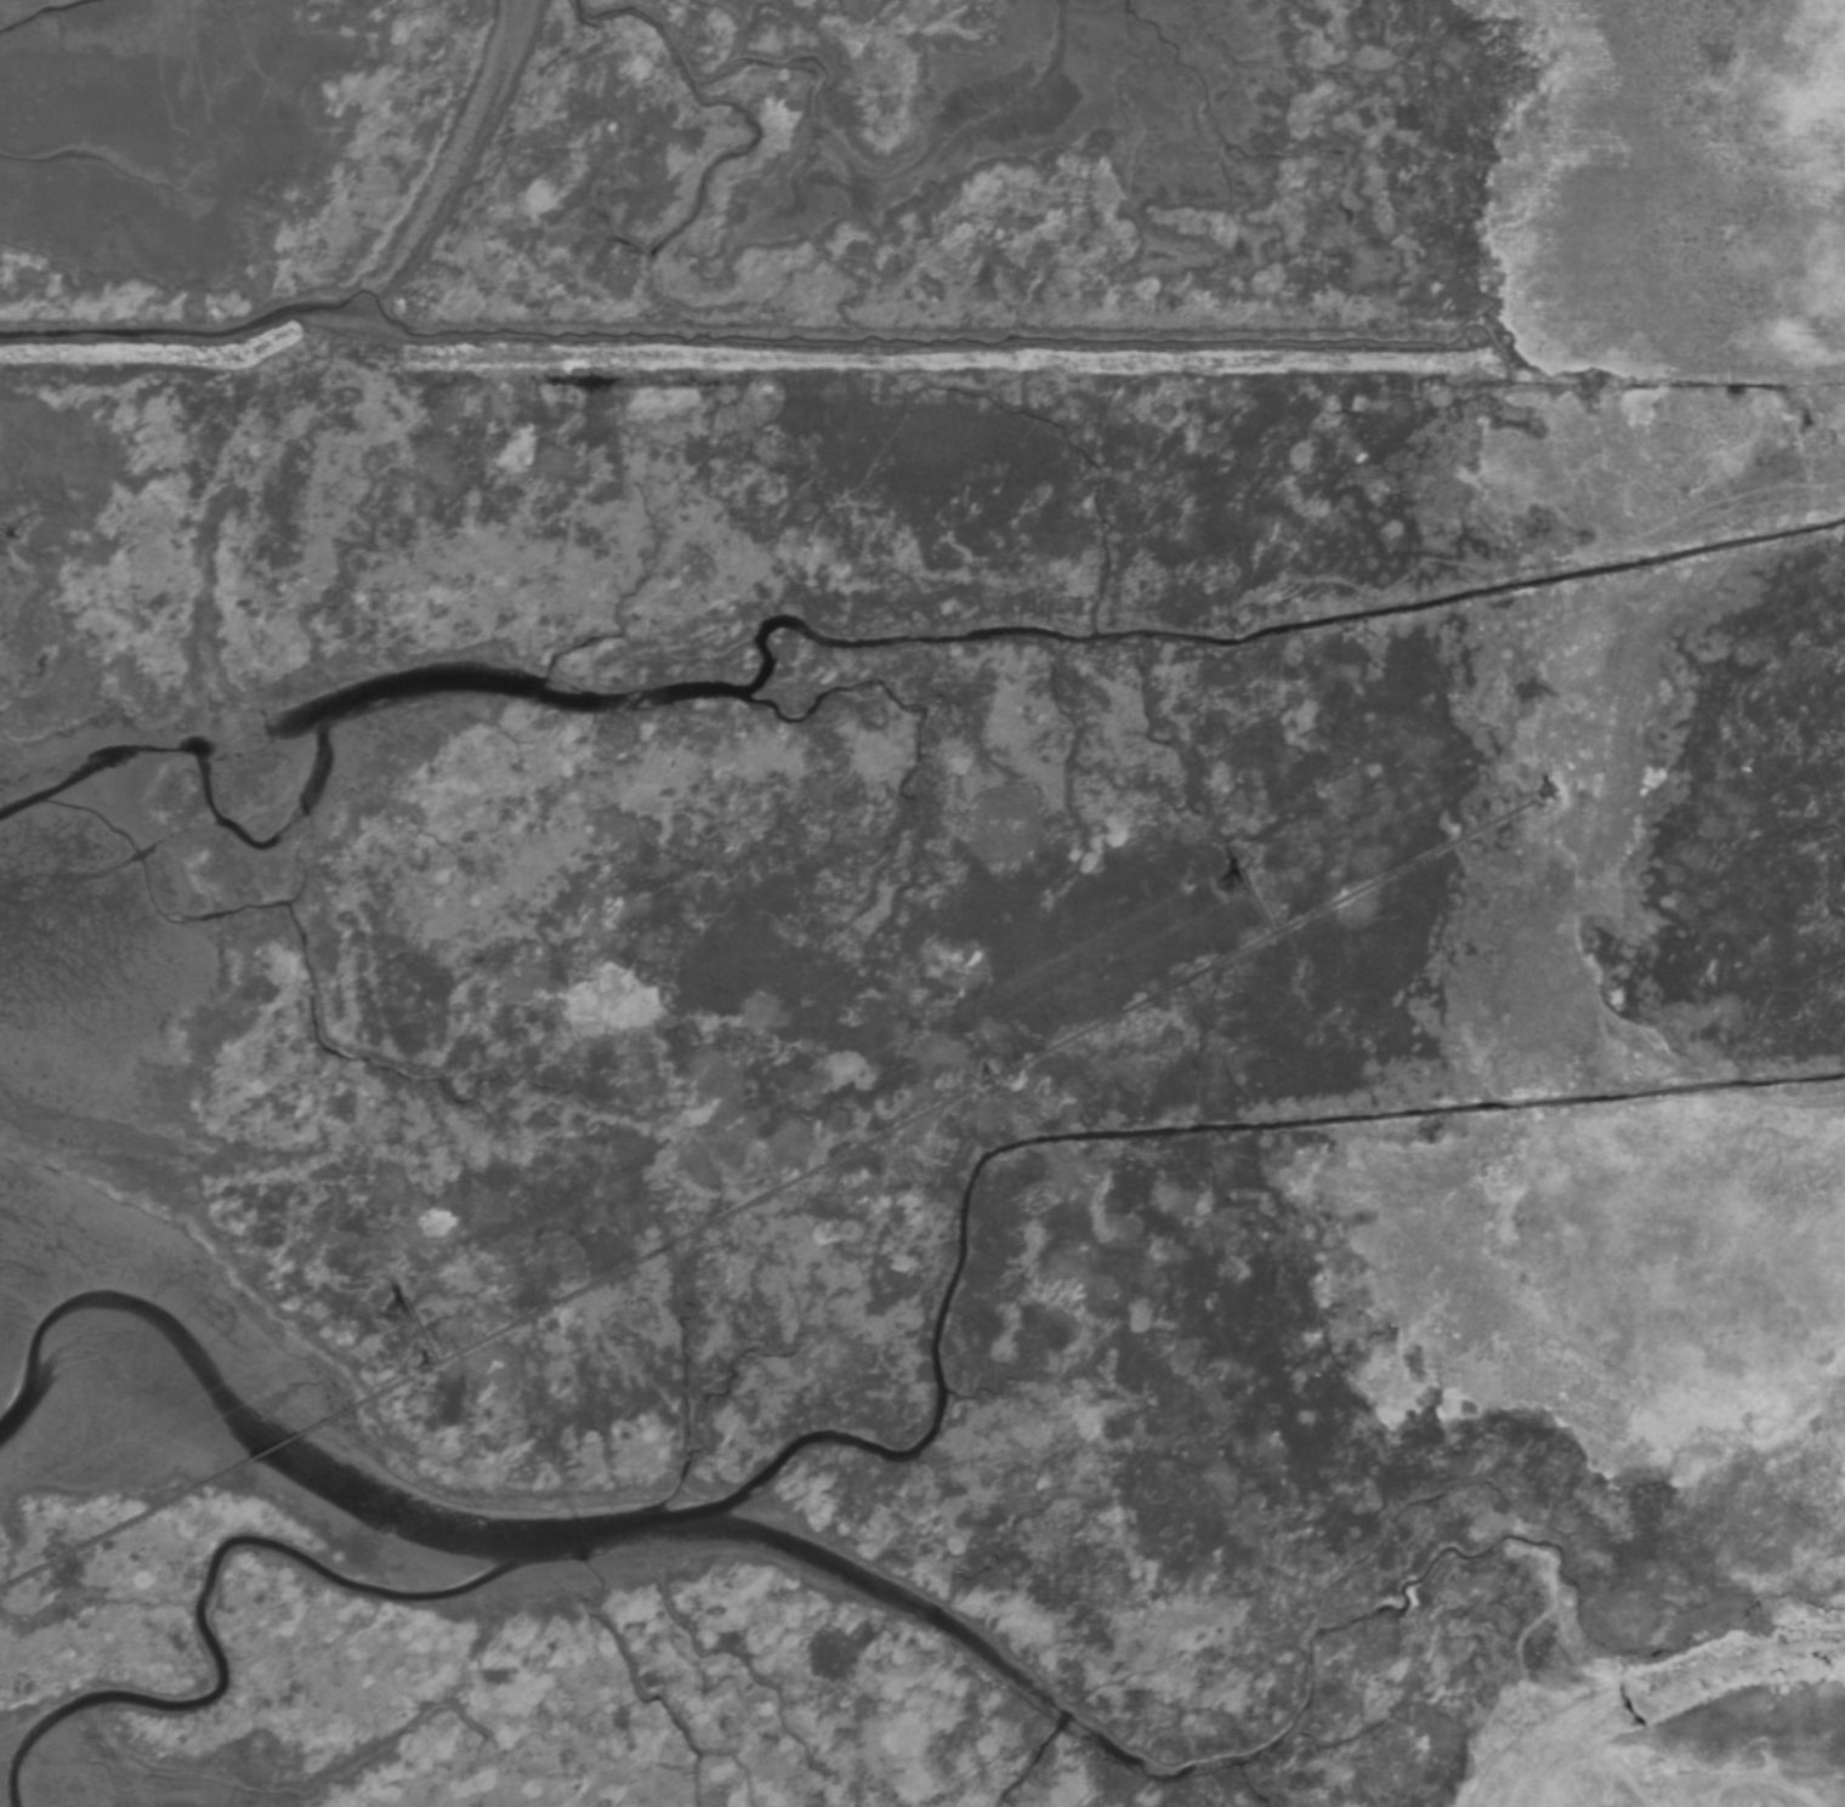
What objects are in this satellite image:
power tower: (1544, 796)
power tower: (1232, 891)
power tower: (983, 1084)
power tower: (397, 1319)
power tower: (422, 1371)

